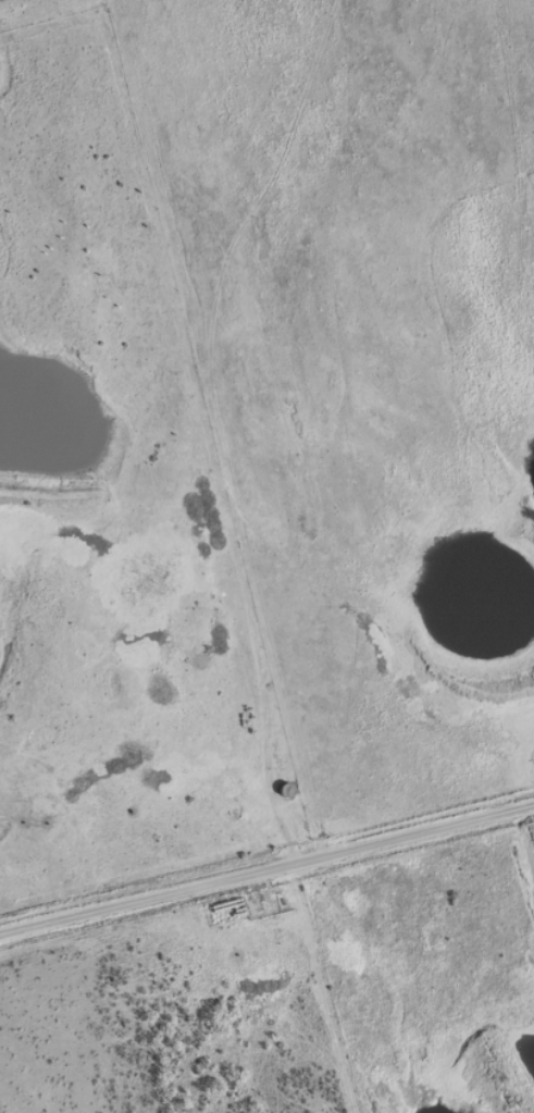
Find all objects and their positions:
road: (266, 856)

